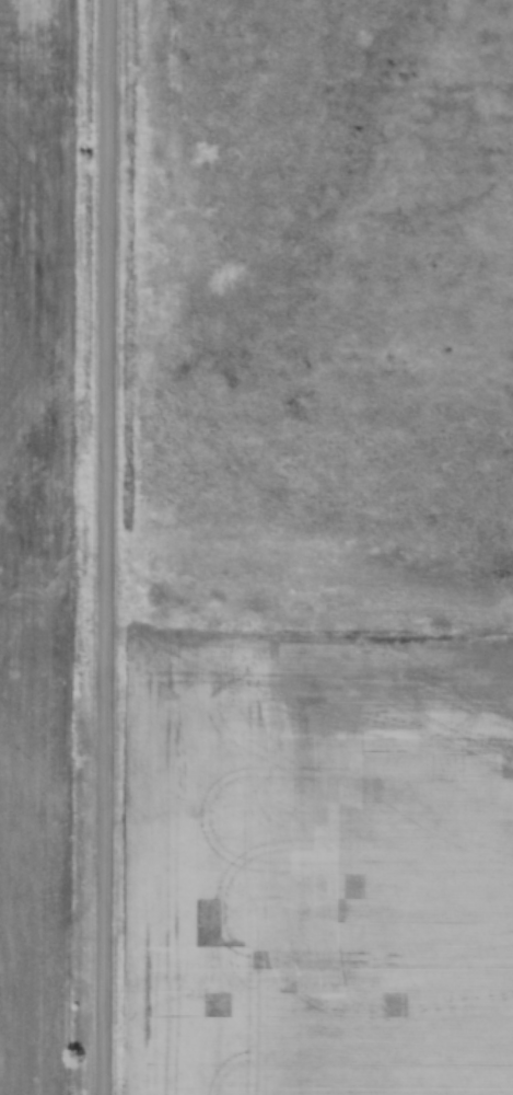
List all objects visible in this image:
road: (95, 547)

